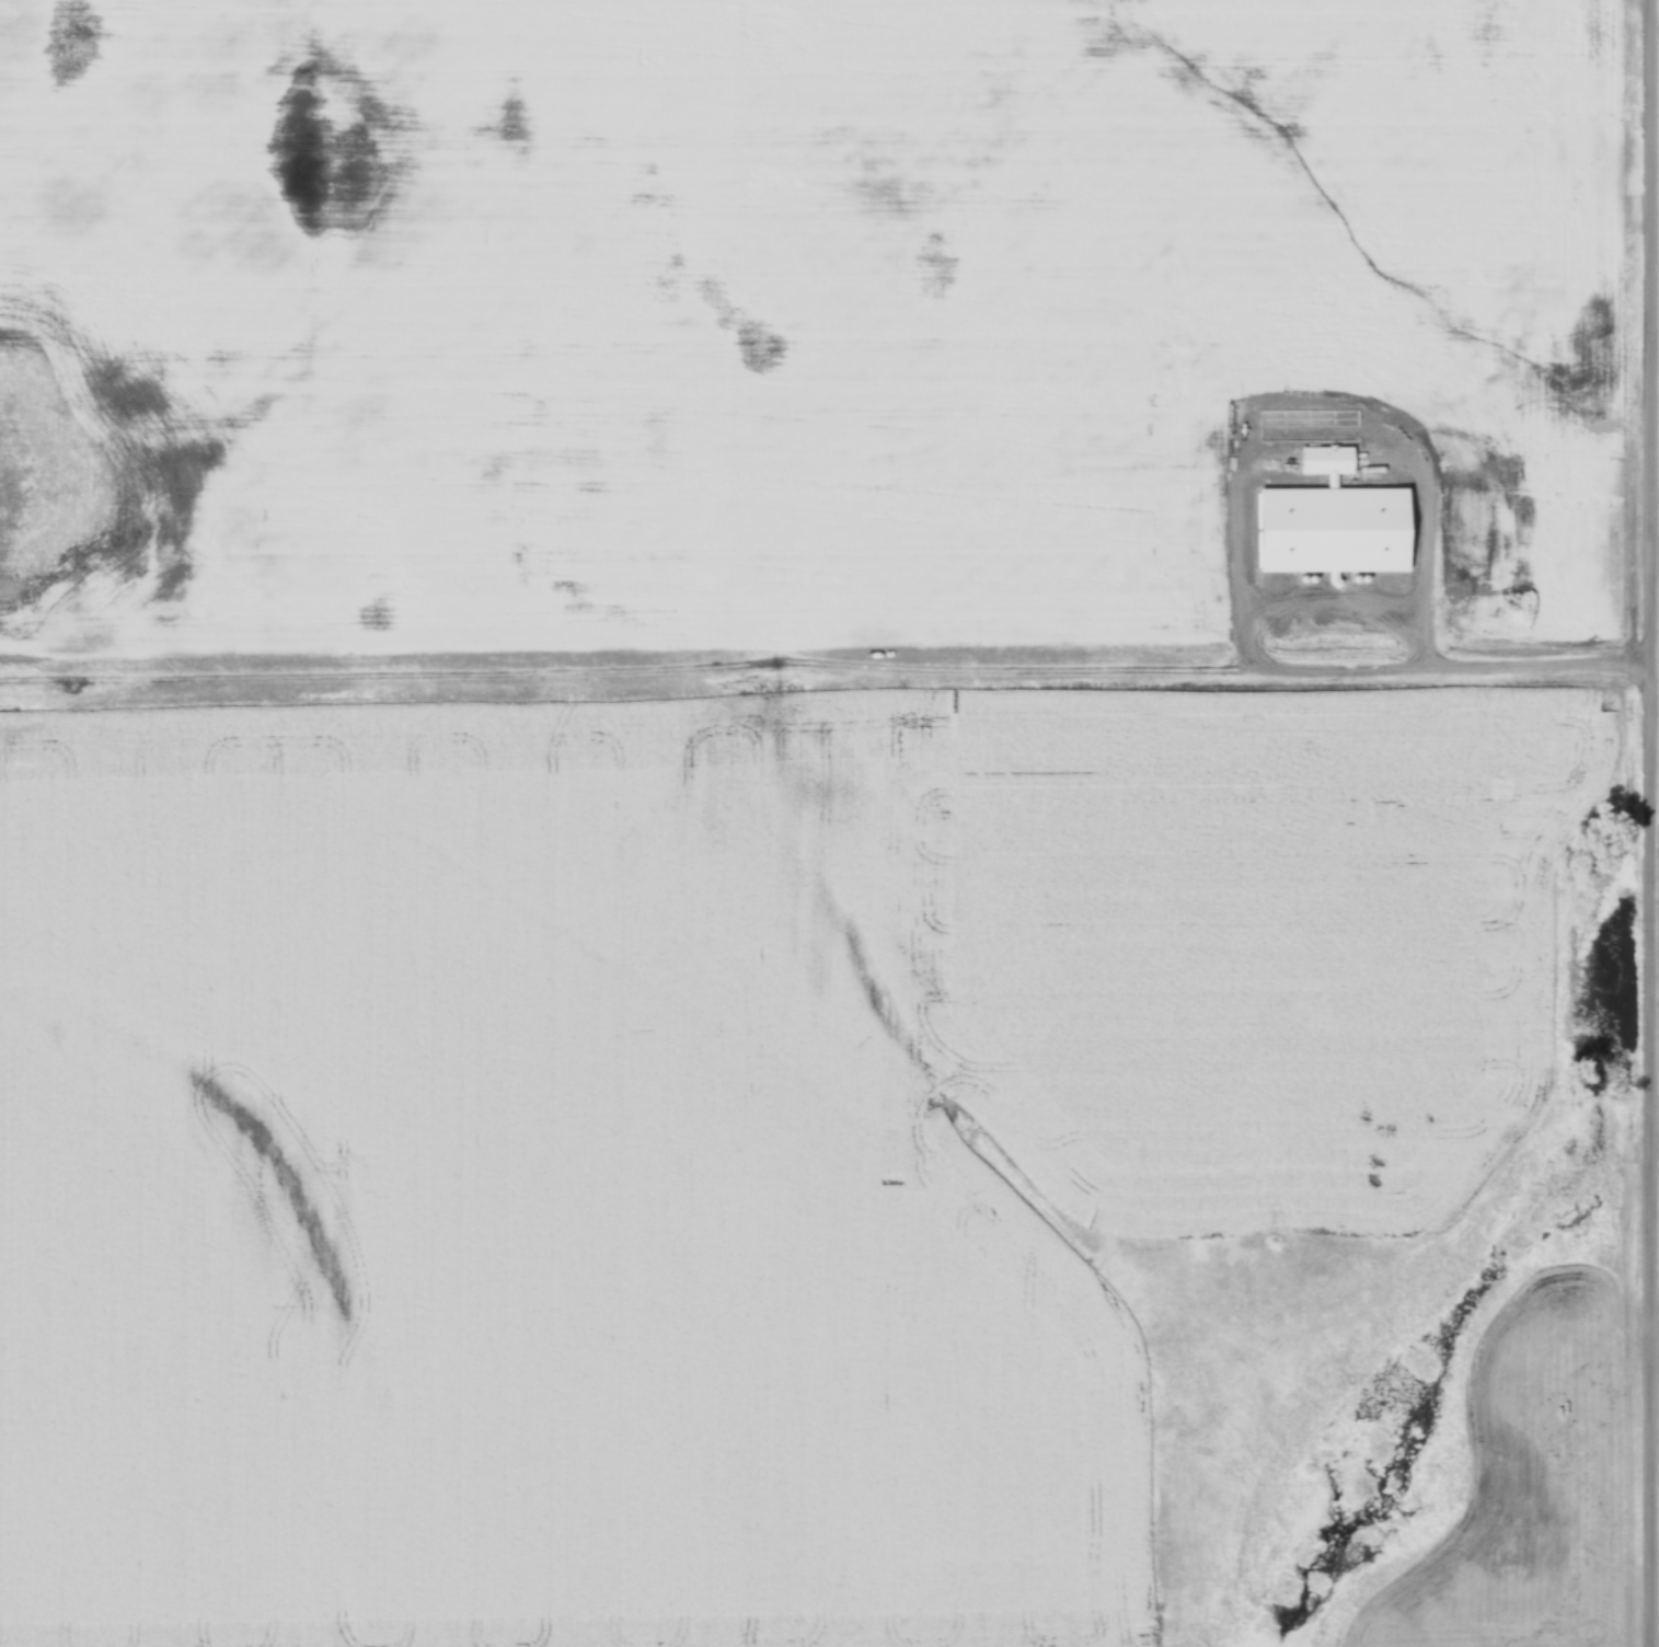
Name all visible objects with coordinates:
road: (825, 676)
road: (1648, 822)

